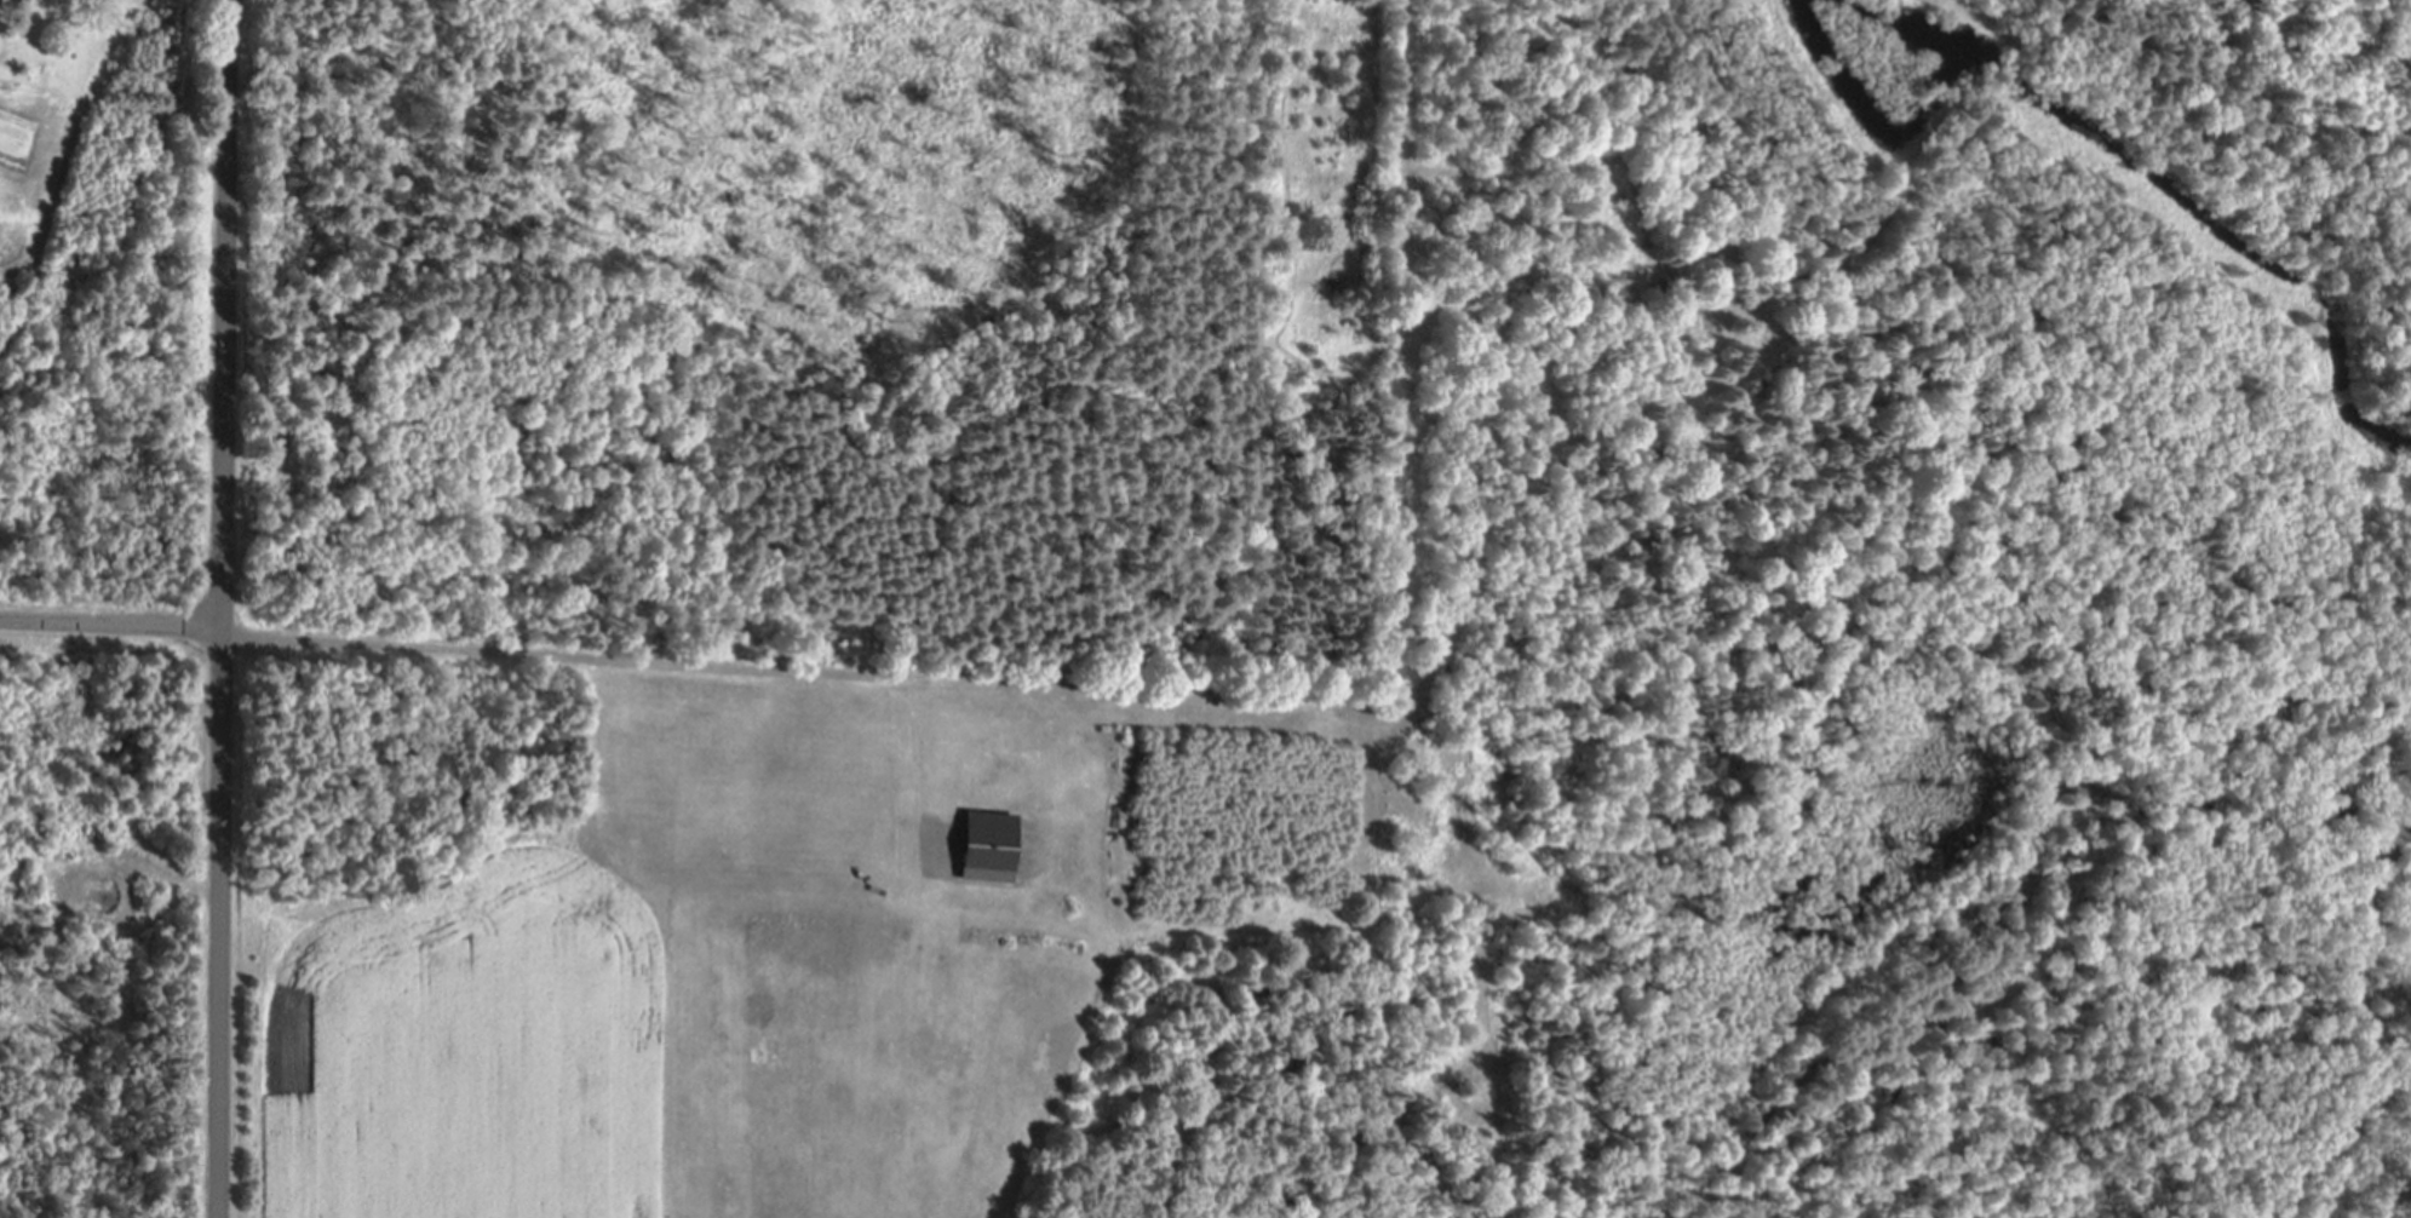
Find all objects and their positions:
road: (219, 608)
road: (109, 624)
road: (557, 655)
building: (982, 846)

